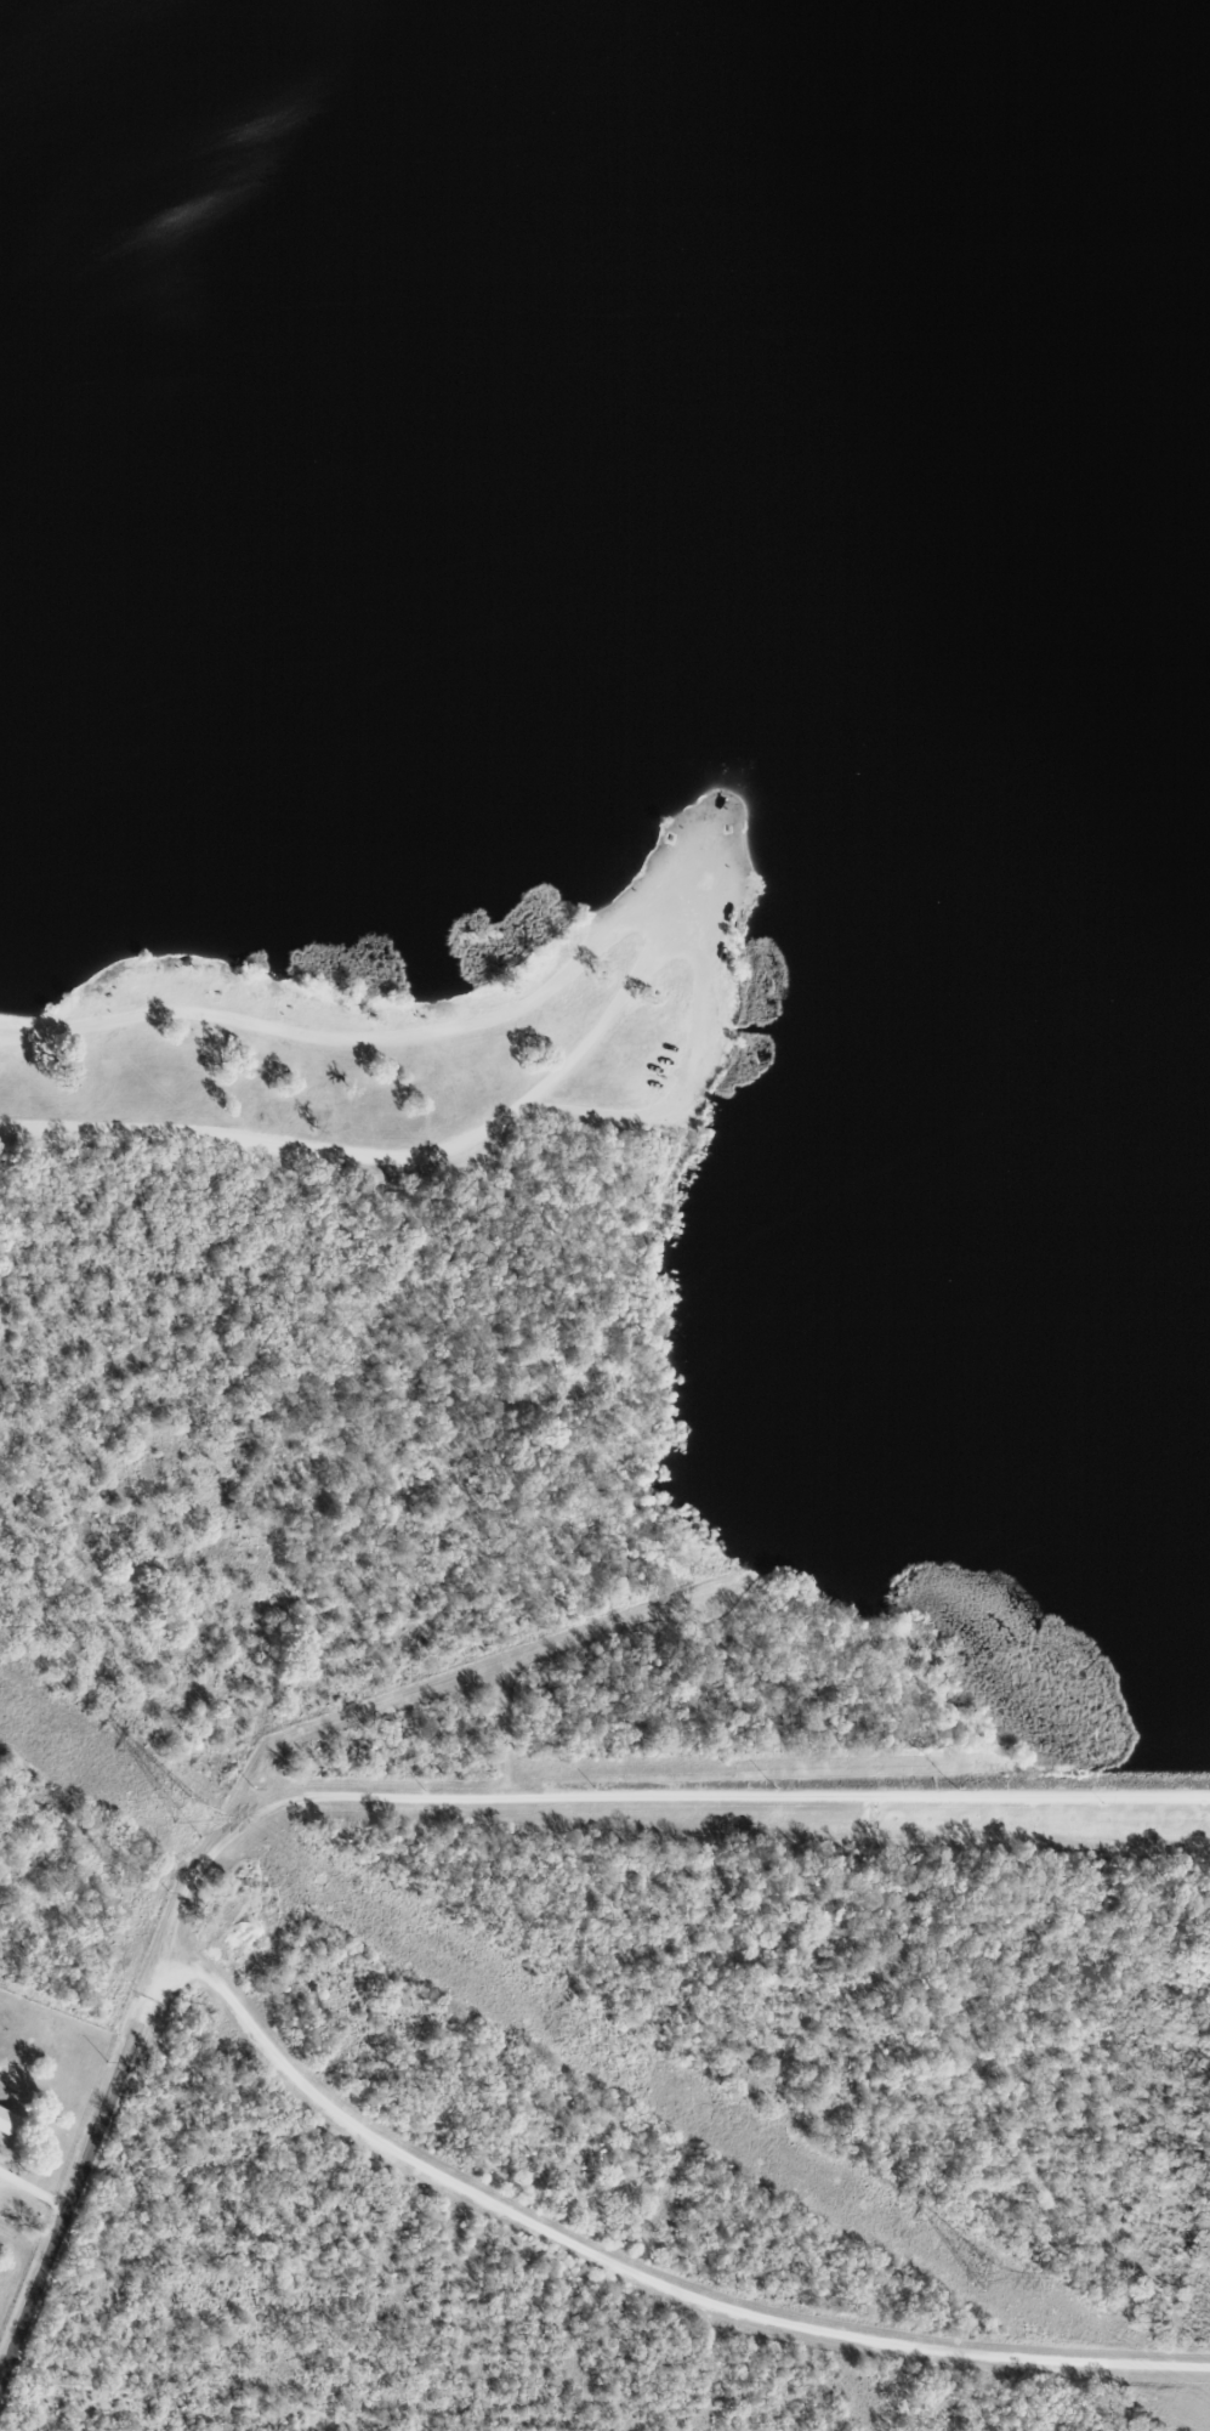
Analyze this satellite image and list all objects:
road: (530, 1001)
road: (15, 1036)
park: (408, 1043)
road: (392, 1152)
road: (581, 1793)
dam: (1155, 1795)
road: (1155, 1795)
power tower: (194, 1817)
building: (5, 2120)
road: (72, 2193)
power tower: (982, 2272)
road: (613, 2284)

